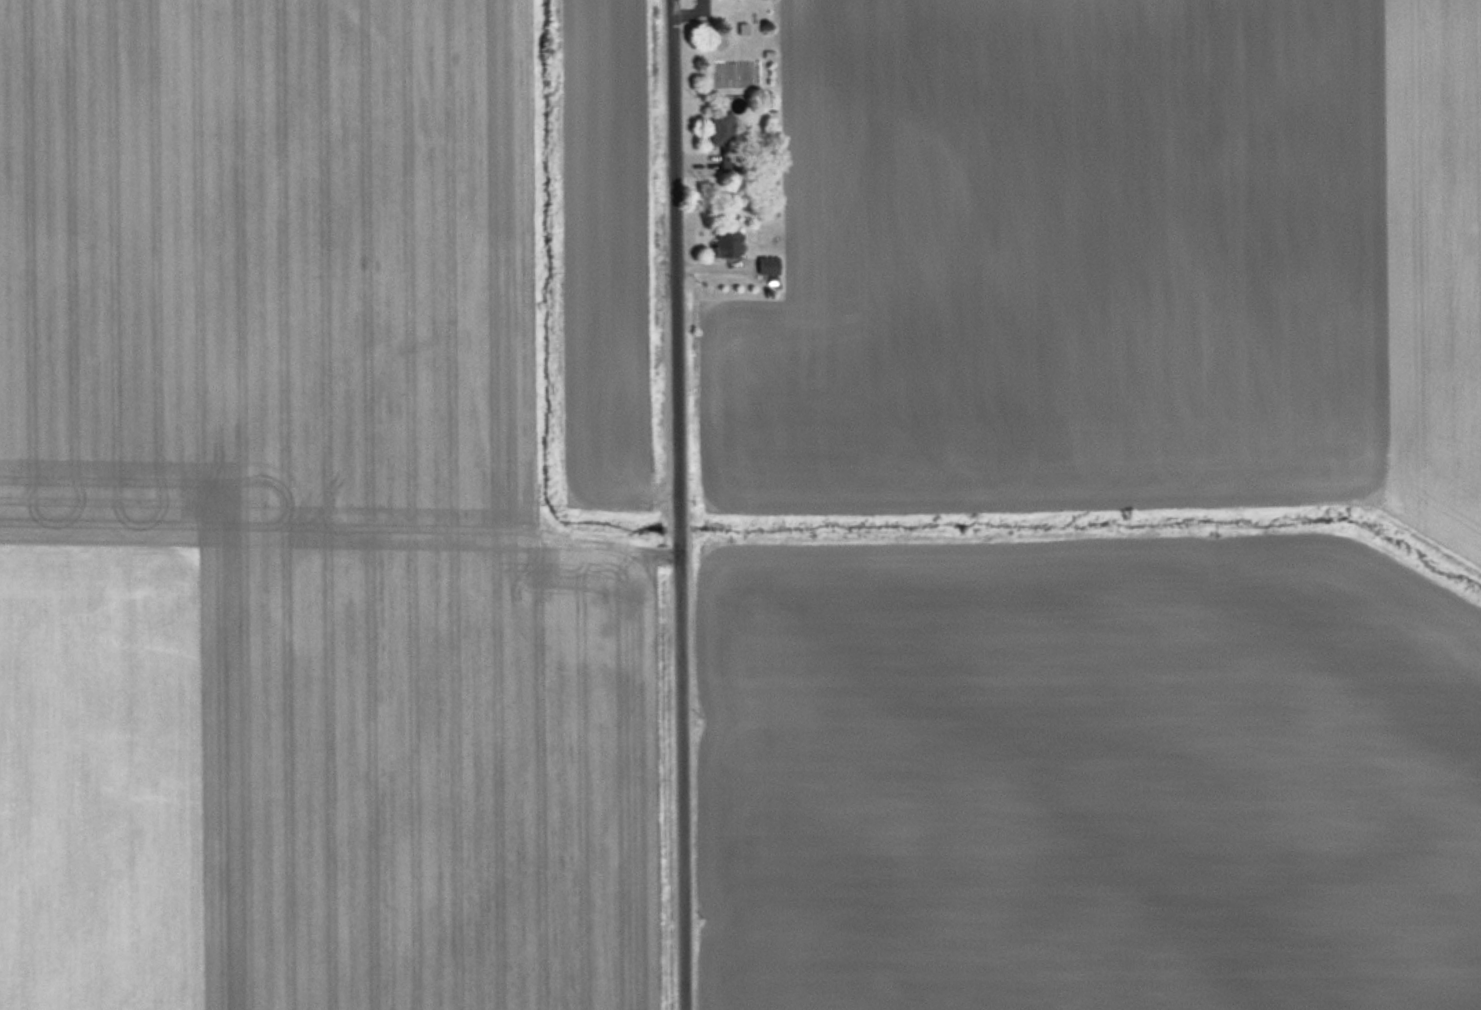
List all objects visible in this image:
building: (724, 137)
building: (727, 243)
building: (768, 264)
road: (681, 504)

